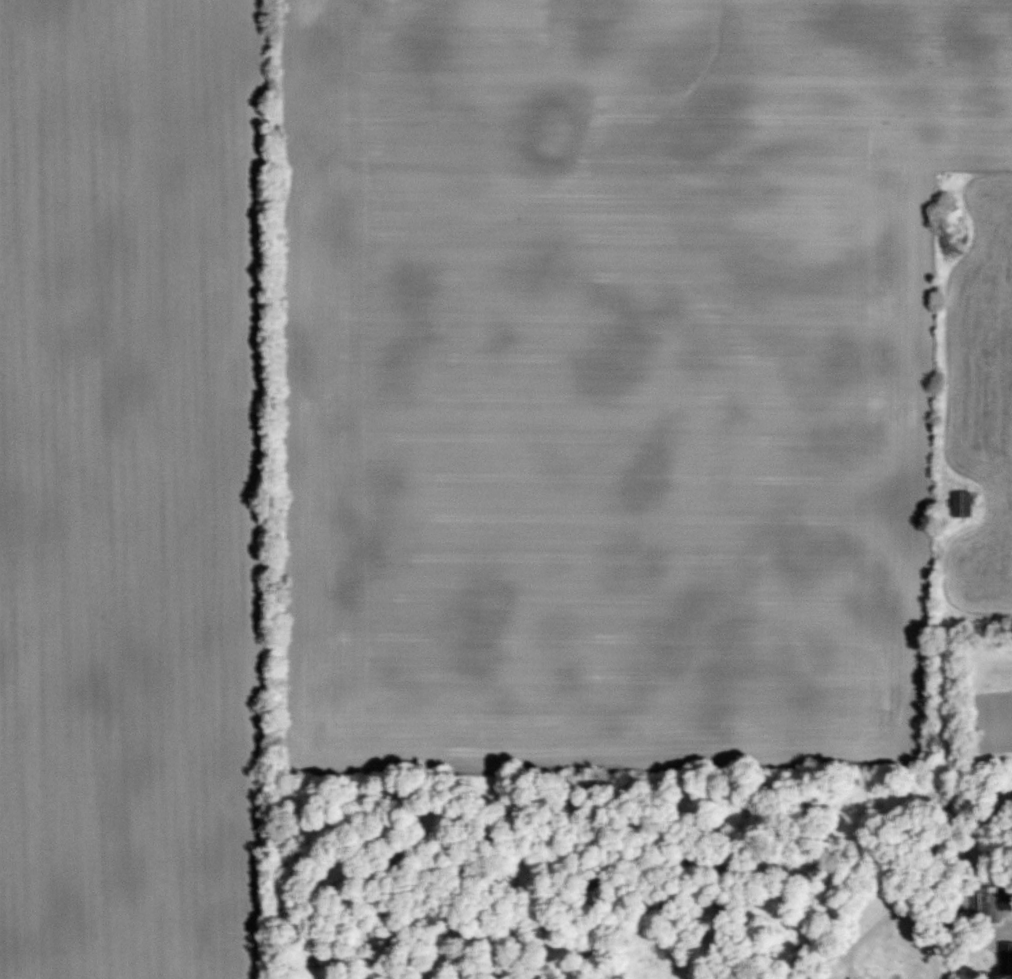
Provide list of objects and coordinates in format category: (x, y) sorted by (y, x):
building: (961, 504)
building: (985, 905)
building: (1005, 958)

